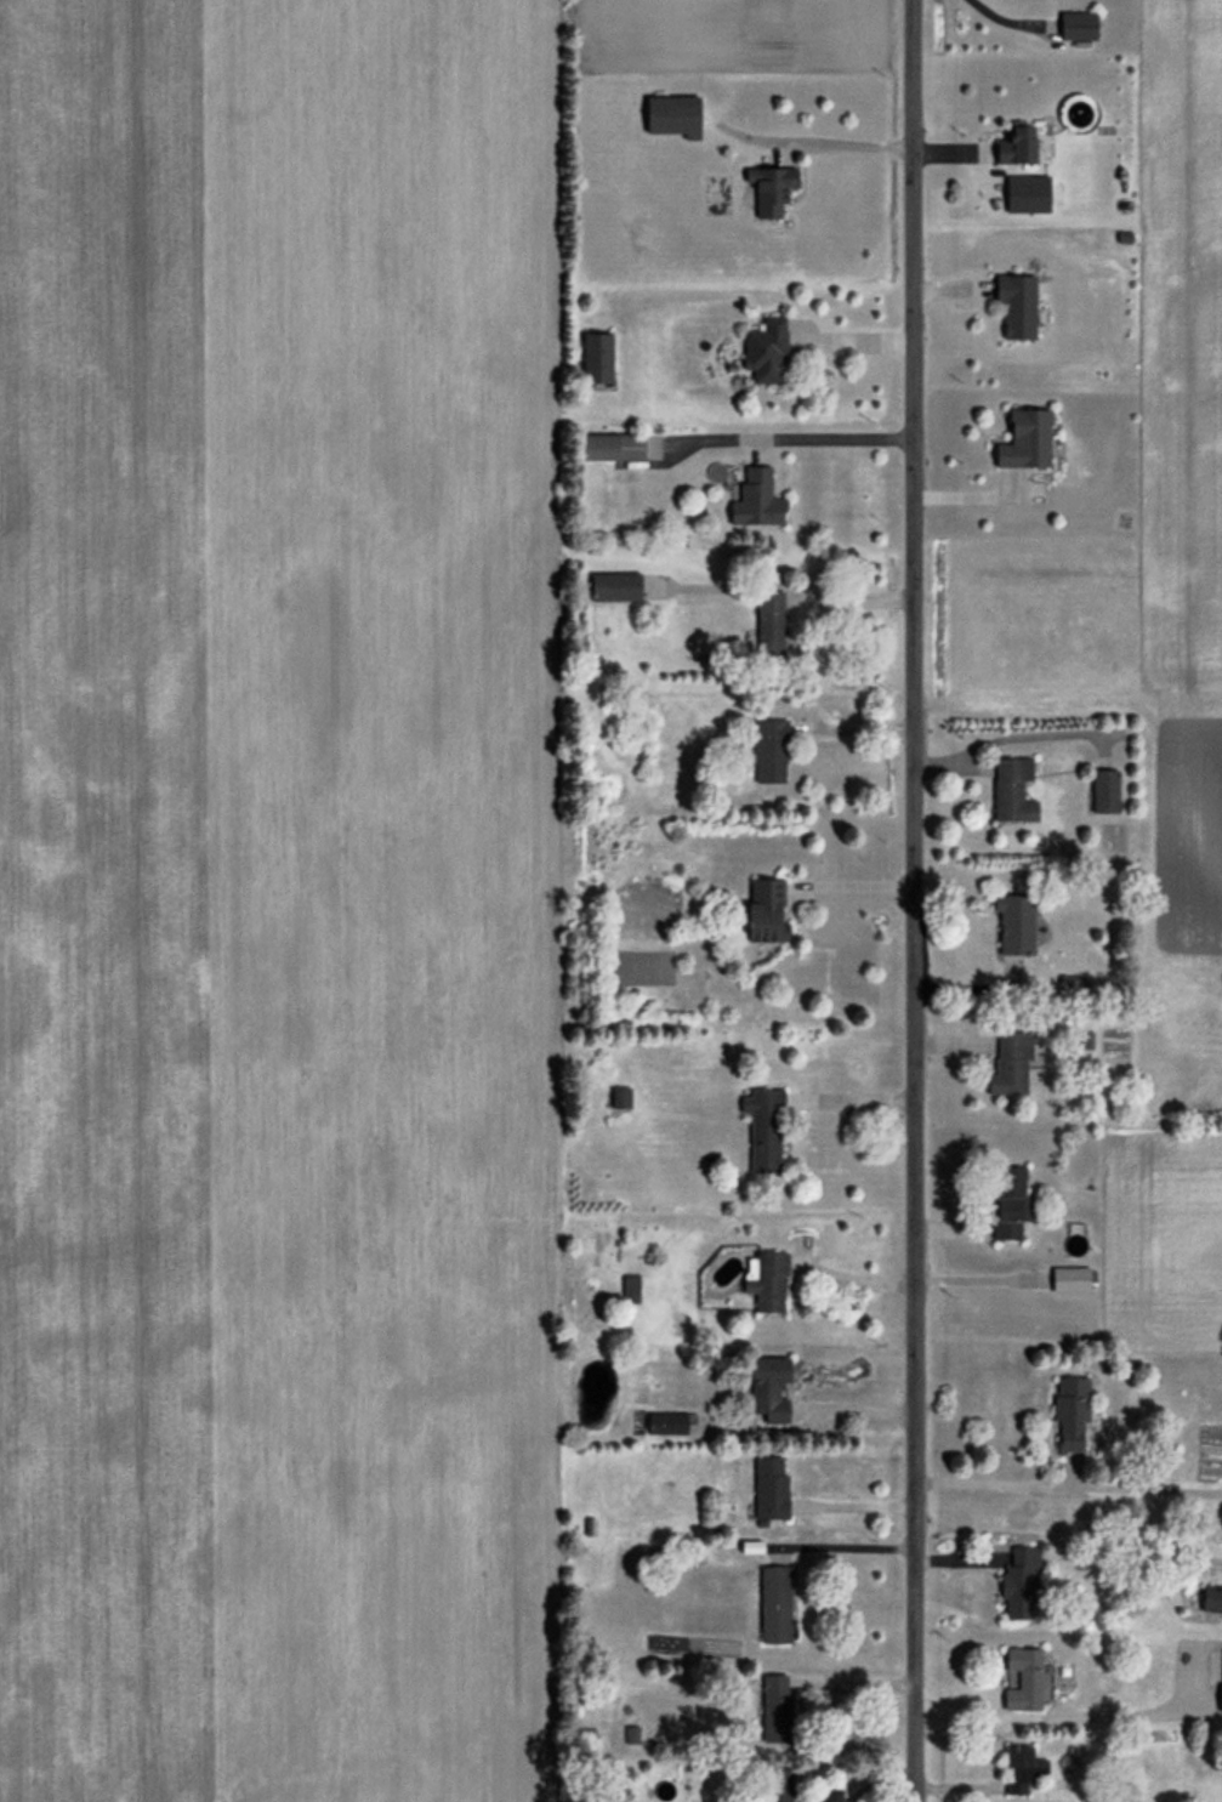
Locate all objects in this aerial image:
building: (1074, 25)
building: (670, 115)
road: (845, 142)
building: (1012, 146)
building: (765, 191)
building: (1013, 305)
building: (762, 349)
building: (593, 356)
road: (834, 438)
building: (1022, 438)
building: (609, 444)
building: (754, 499)
building: (610, 586)
road: (849, 597)
building: (768, 621)
building: (767, 750)
building: (1010, 790)
building: (1102, 790)
road: (853, 887)
road: (917, 900)
building: (761, 910)
building: (1012, 923)
building: (1011, 1062)
building: (618, 1096)
road: (852, 1099)
building: (761, 1126)
building: (1006, 1200)
building: (1067, 1279)
building: (767, 1283)
road: (854, 1289)
building: (629, 1290)
building: (765, 1388)
building: (1069, 1415)
road: (857, 1416)
road: (1068, 1483)
building: (768, 1486)
building: (1012, 1594)
building: (1217, 1602)
building: (773, 1604)
building: (1022, 1678)
building: (1220, 1681)
building: (775, 1707)
road: (1058, 1726)
building: (631, 1734)
building: (1021, 1768)
building: (774, 1785)

